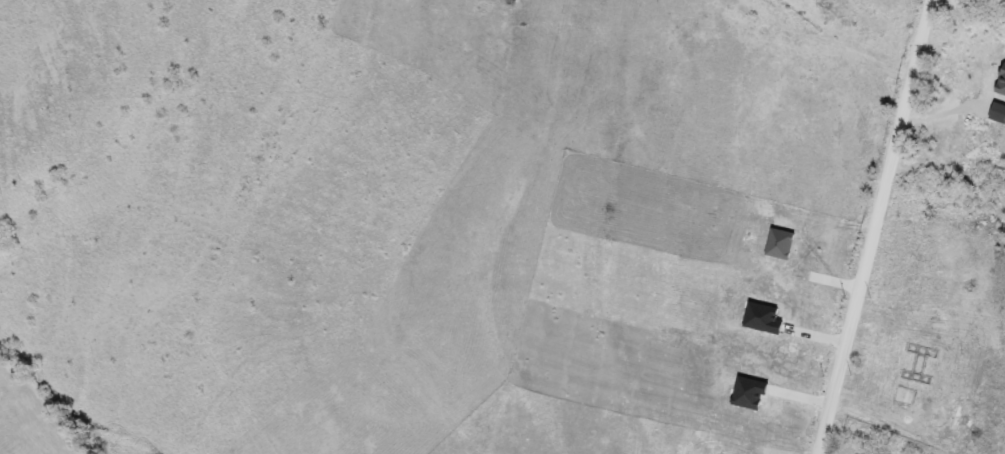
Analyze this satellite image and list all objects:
road: (845, 46)
road: (953, 111)
road: (873, 226)

